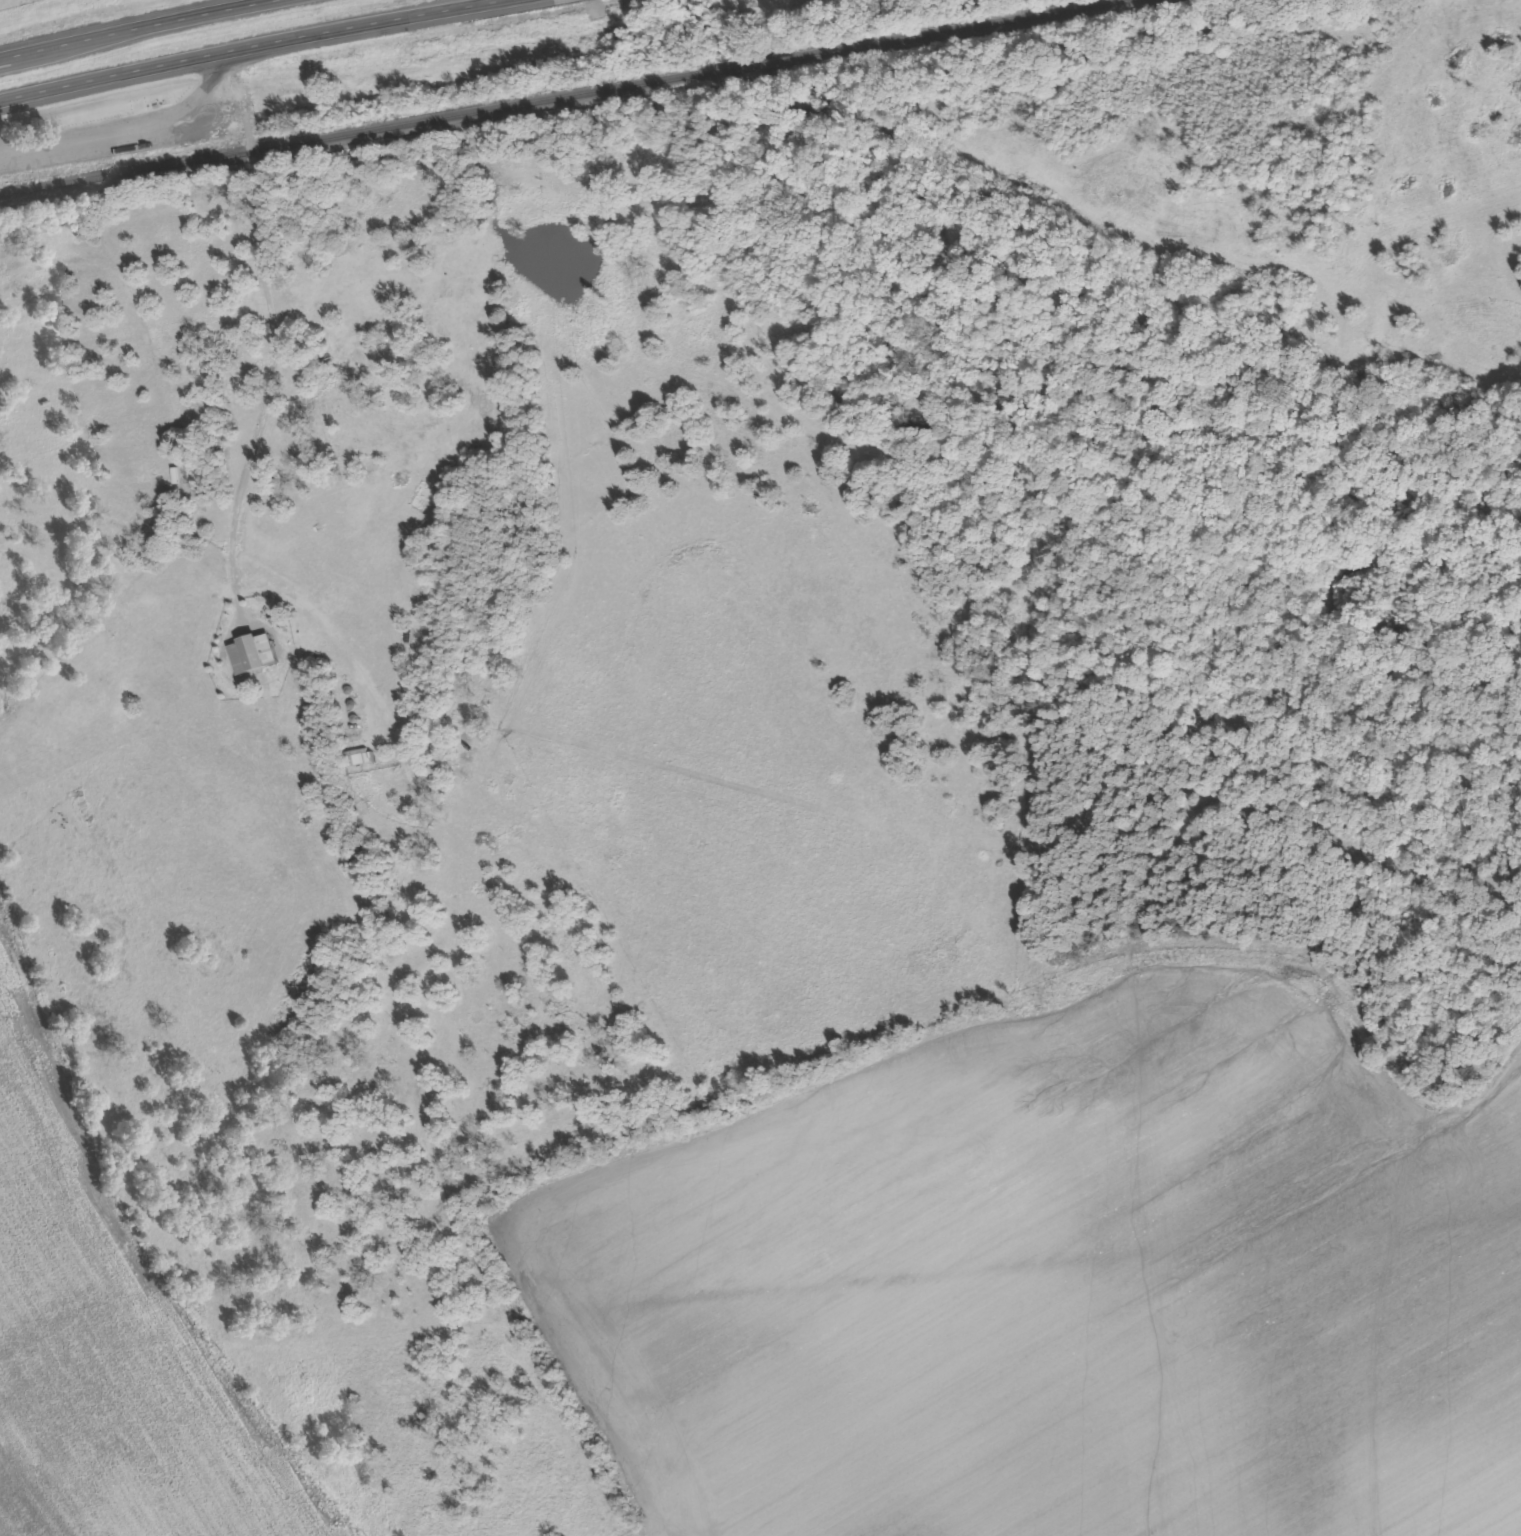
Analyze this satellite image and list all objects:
road: (135, 29)
road: (217, 43)
railway: (559, 98)
road: (246, 113)
road: (137, 1244)
road: (613, 1528)

